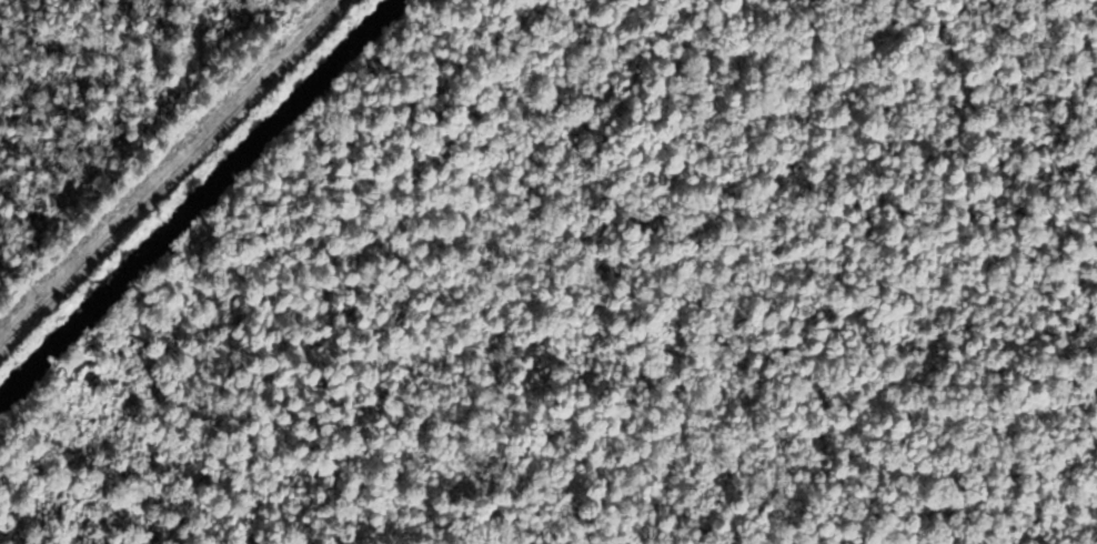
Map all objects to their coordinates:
road: (173, 177)

